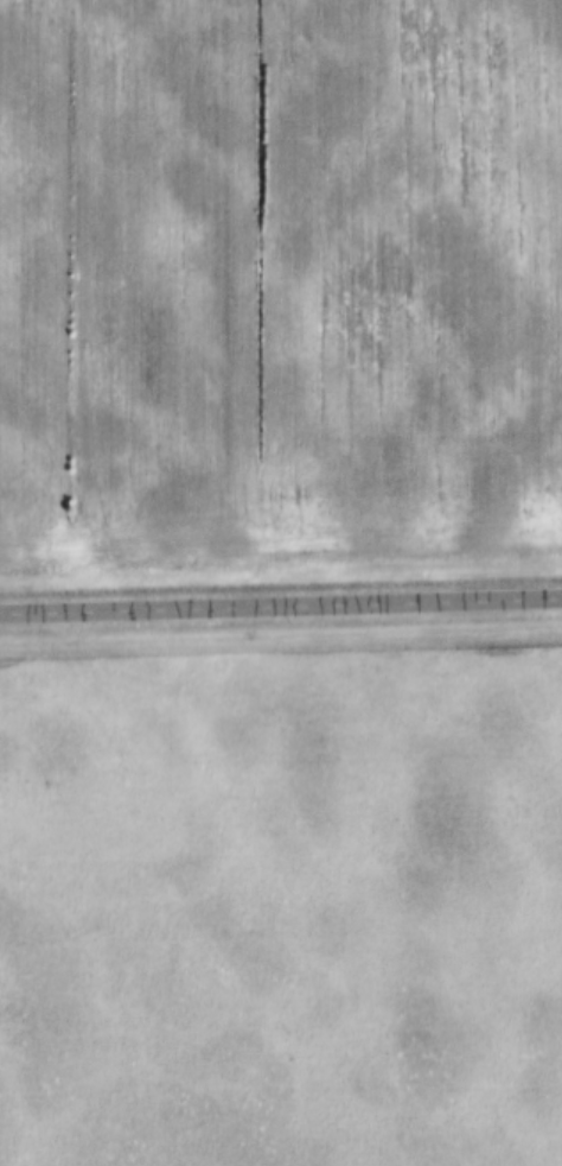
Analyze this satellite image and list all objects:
road: (281, 603)

